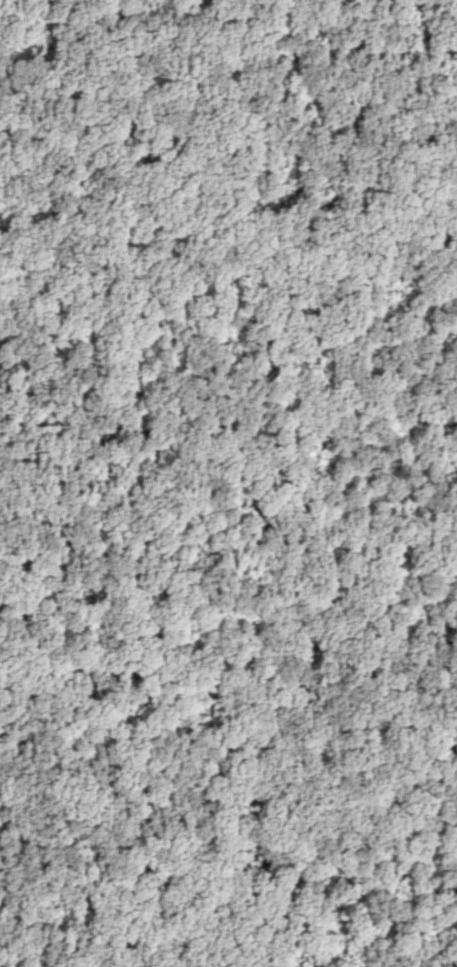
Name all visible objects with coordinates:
road: (435, 72)
road: (220, 255)
park: (228, 483)
road: (20, 834)

